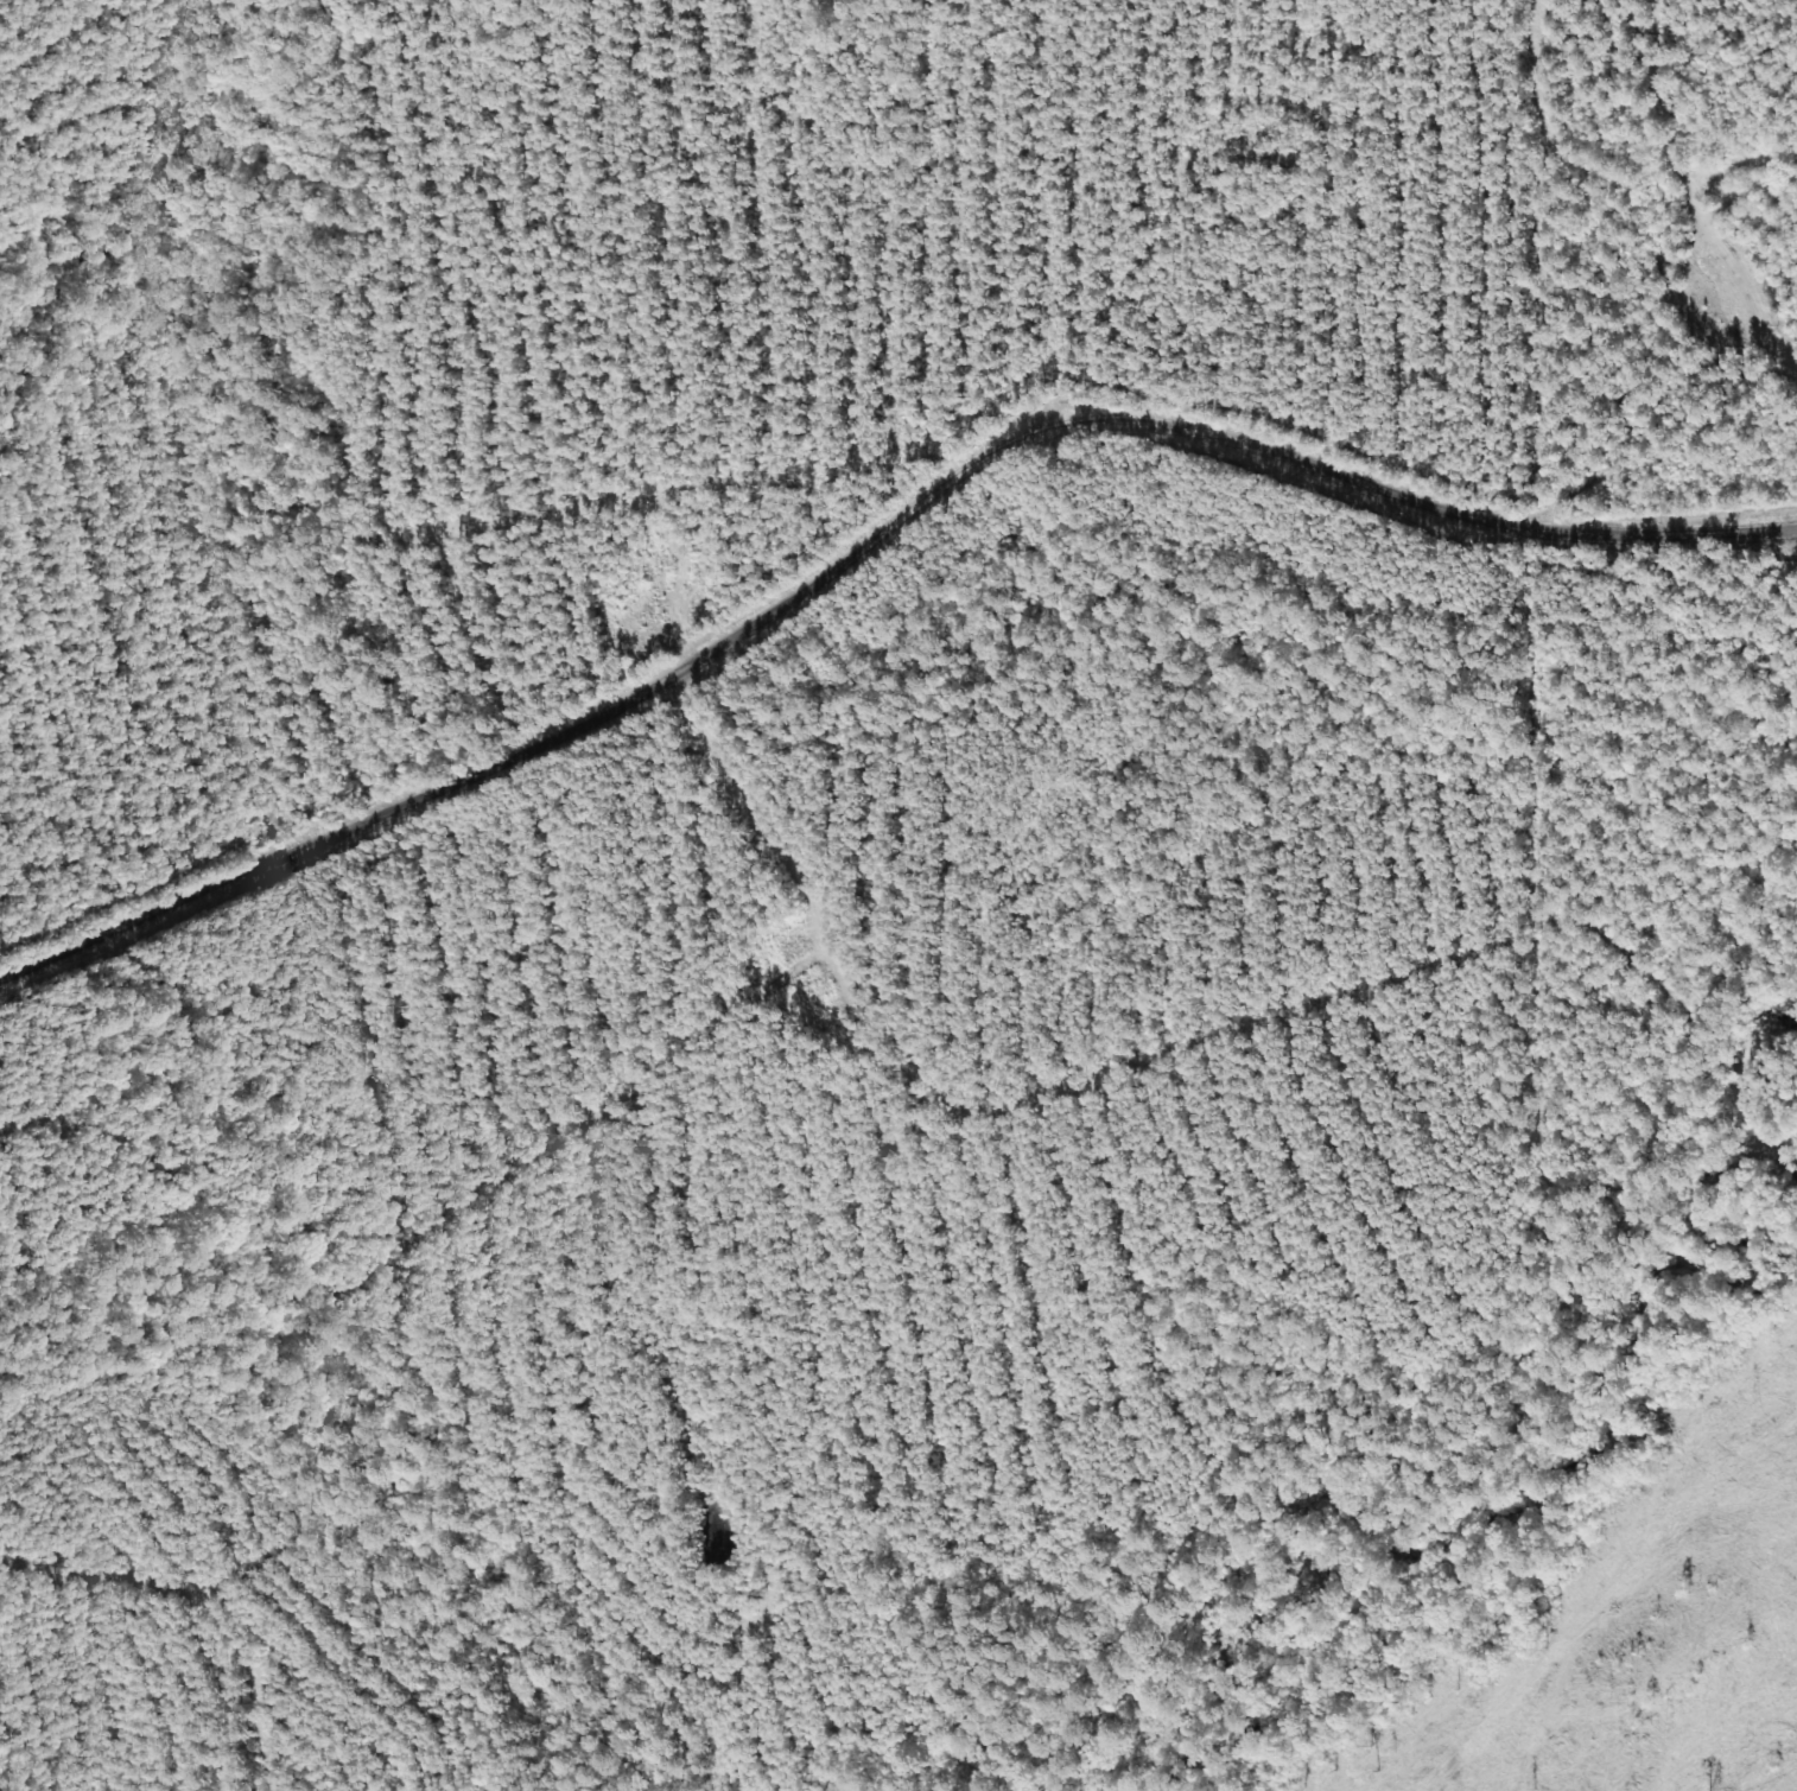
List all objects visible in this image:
road: (871, 582)
road: (948, 1182)

